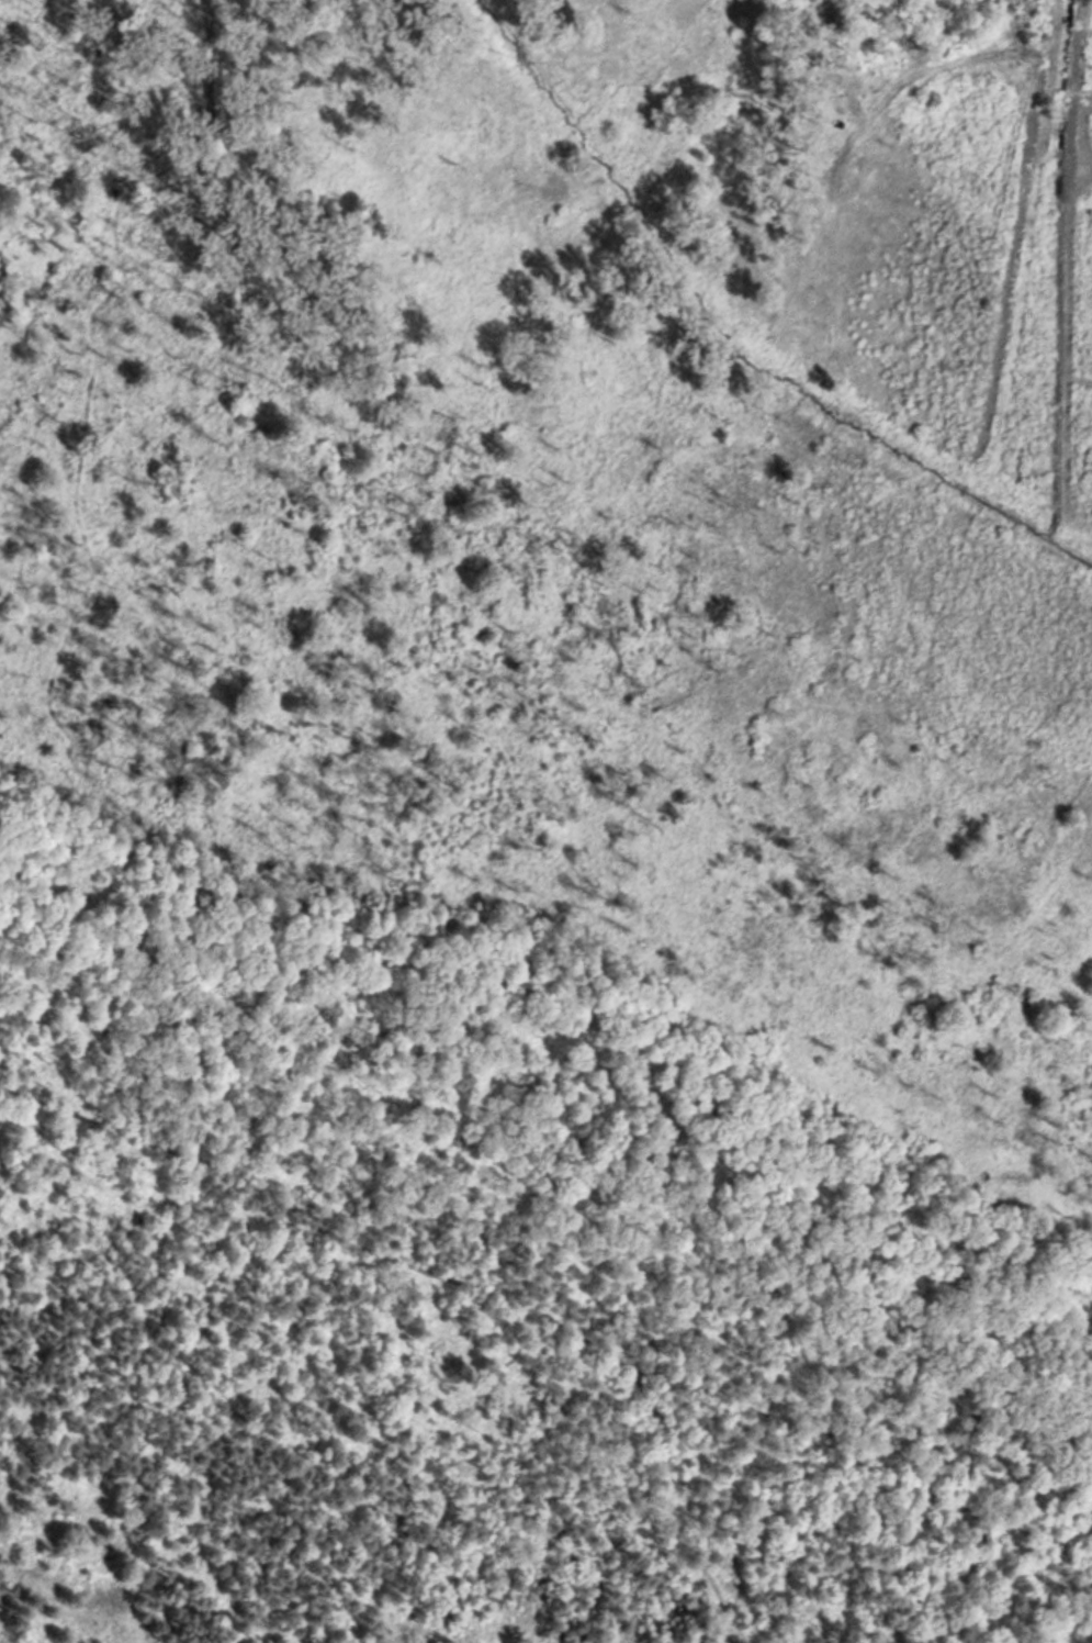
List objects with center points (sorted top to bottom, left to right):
park: (1078, 78)

